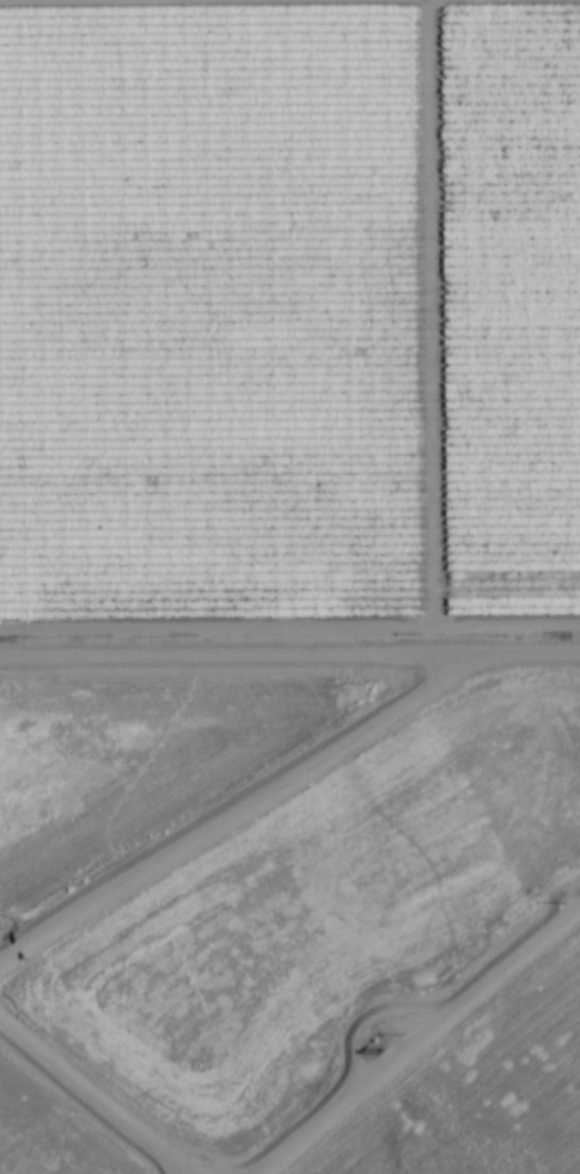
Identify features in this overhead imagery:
crop: (289, 315)

